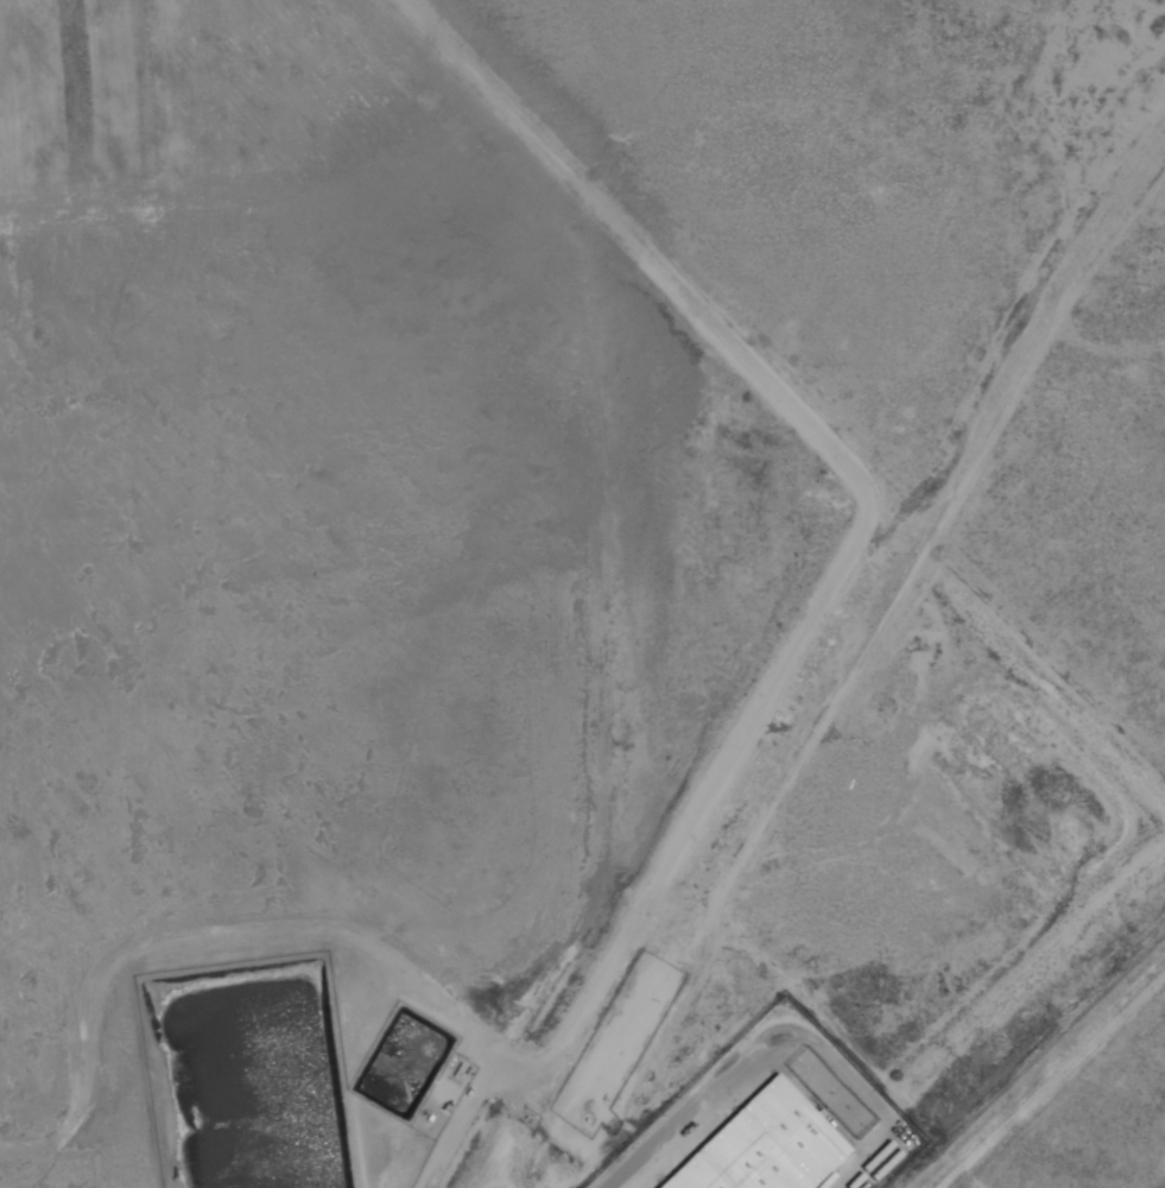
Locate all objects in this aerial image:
landfill: (83, 97)
landfill: (281, 587)
building: (762, 1140)

